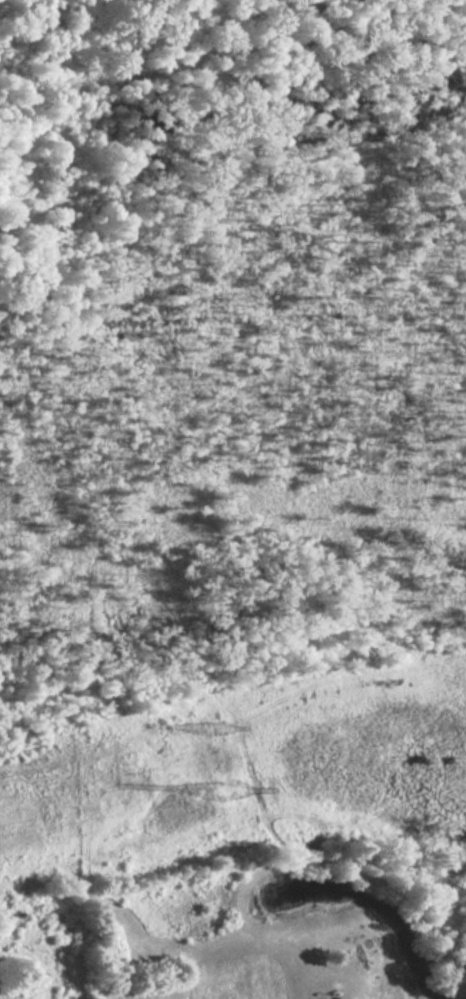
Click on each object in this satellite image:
power tower: (223, 724)
power tower: (231, 789)

